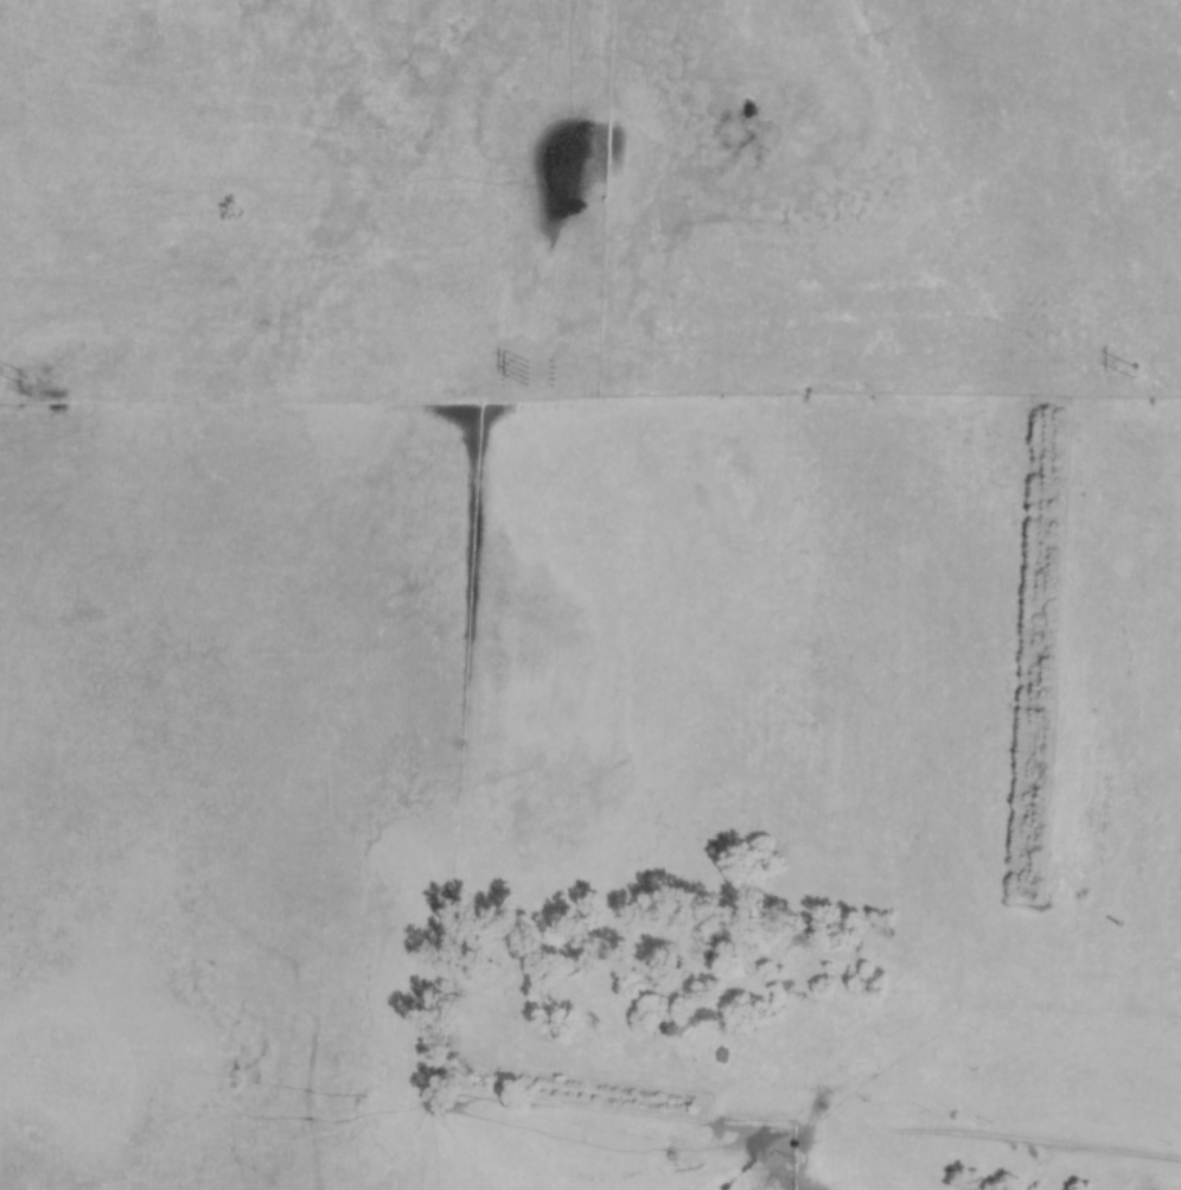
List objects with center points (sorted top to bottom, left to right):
power tower: (1132, 373)
power tower: (528, 375)
power tower: (18, 378)
road: (996, 1143)

